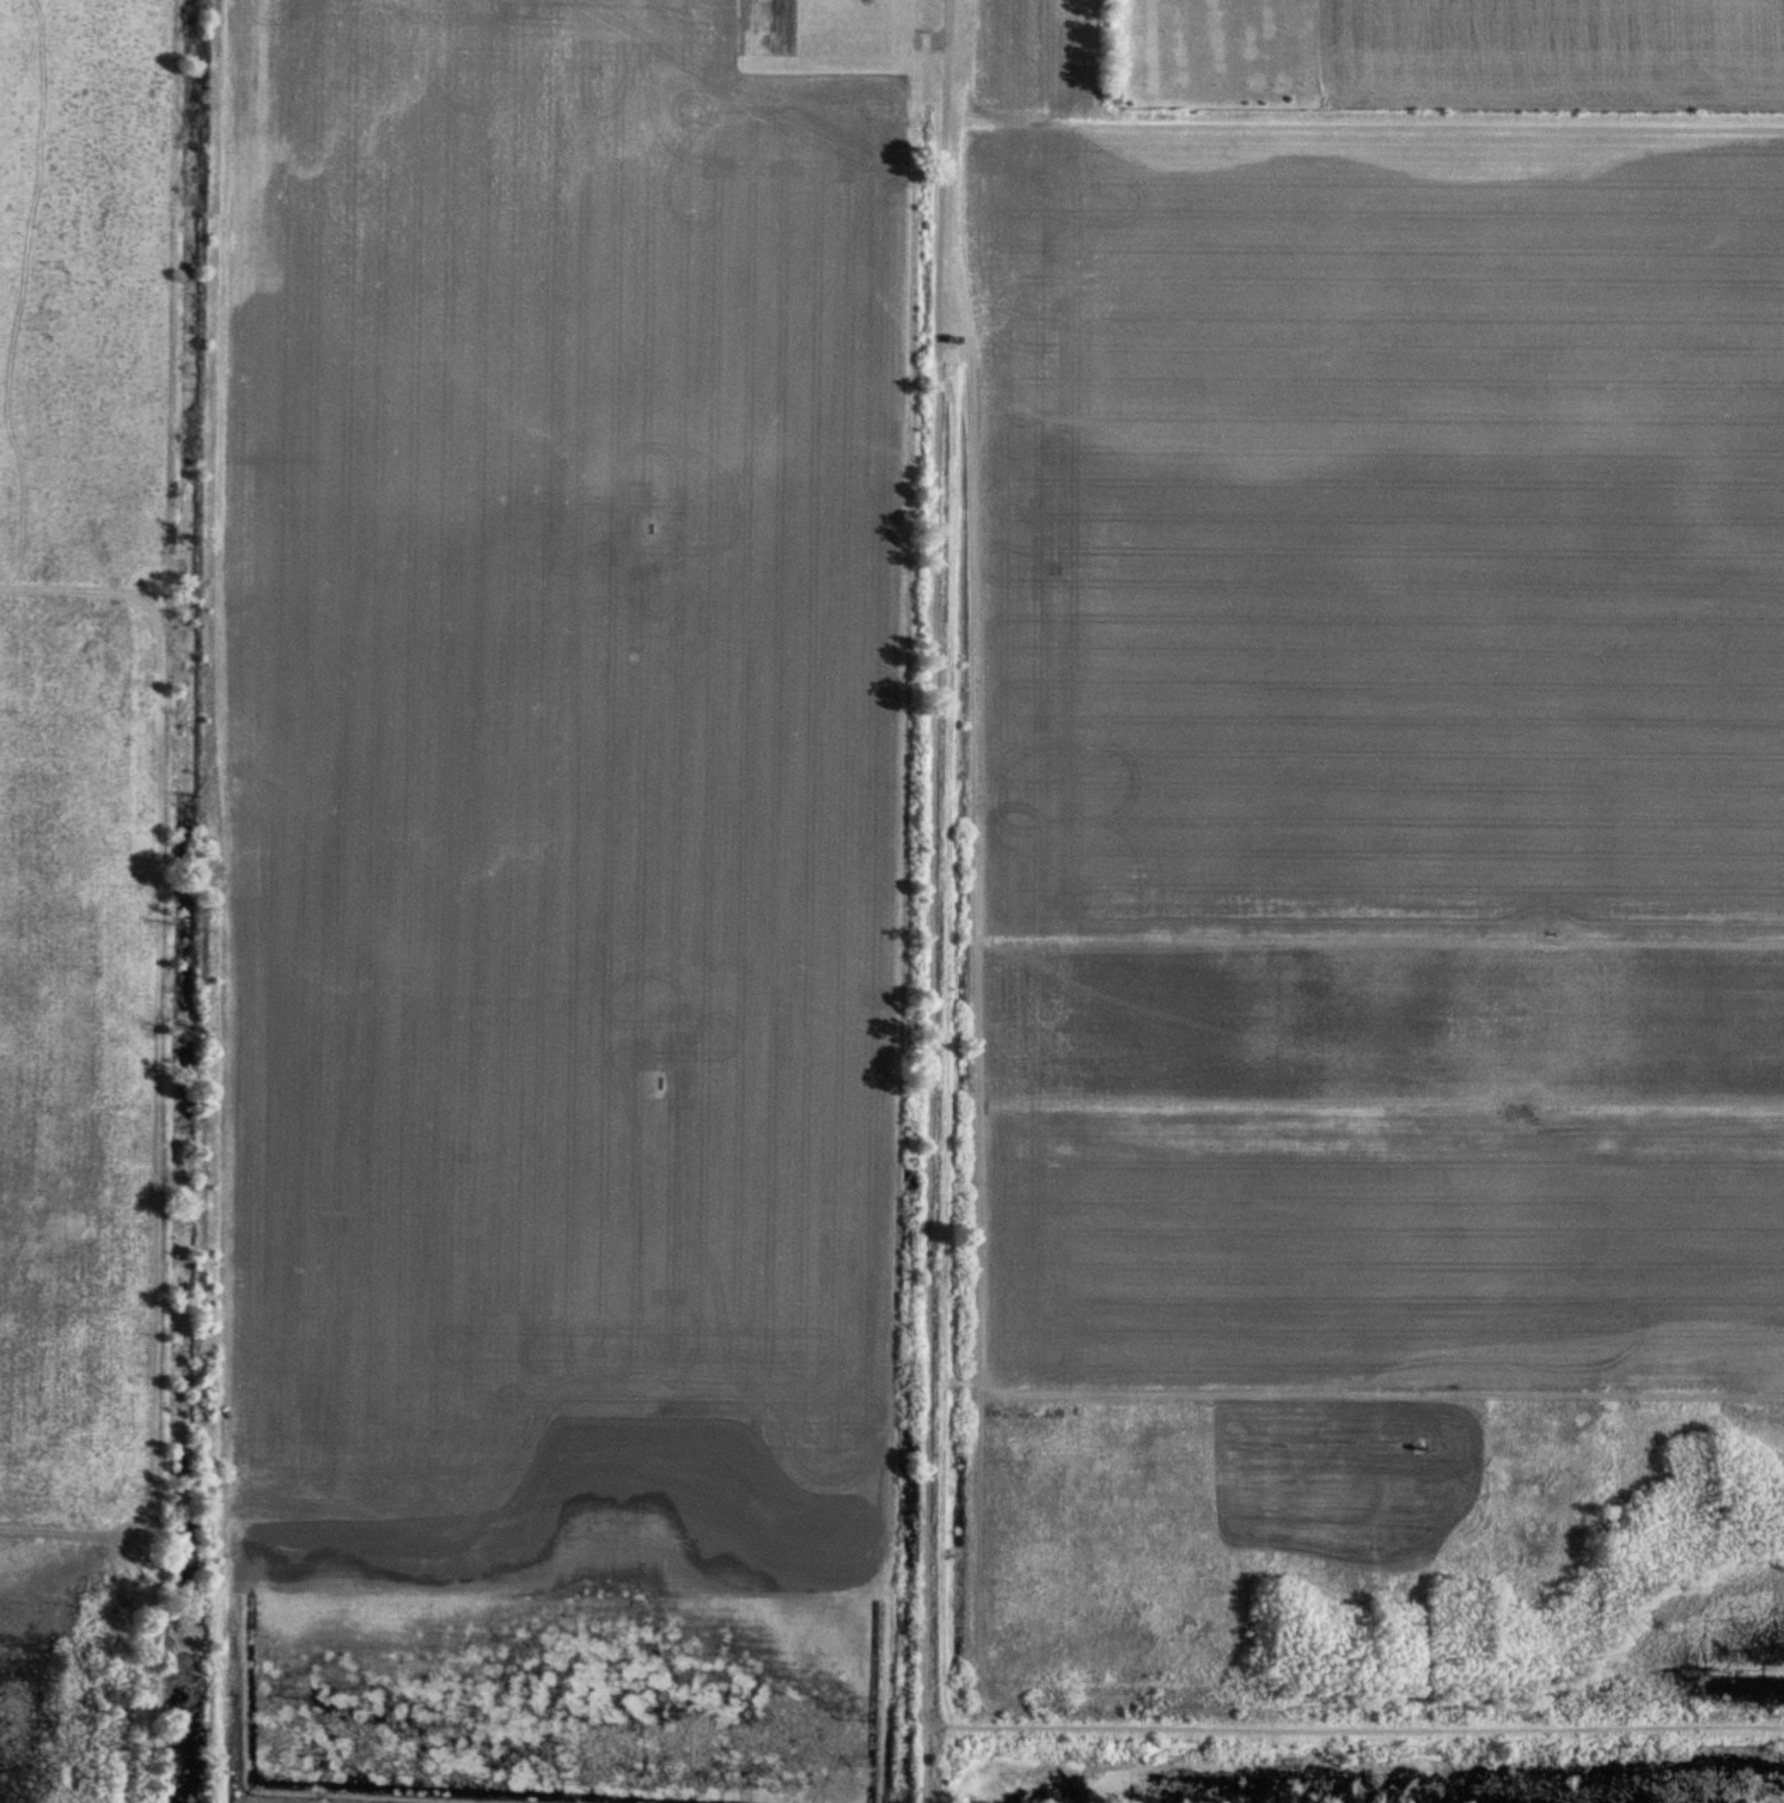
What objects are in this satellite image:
crop: (525, 803)
crop: (79, 848)
road: (929, 900)
road: (163, 901)

